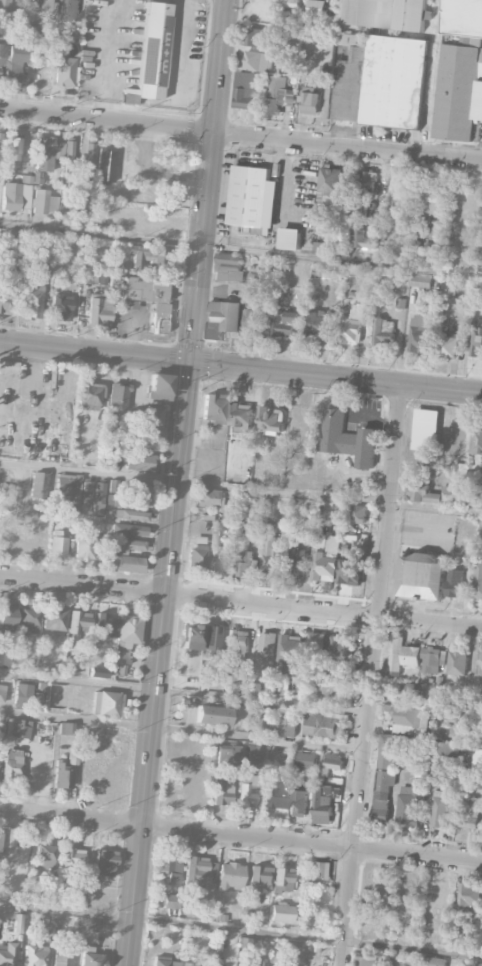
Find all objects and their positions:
building: (290, 3)
building: (316, 5)
building: (5, 6)
building: (47, 7)
building: (24, 8)
building: (70, 10)
building: (385, 13)
building: (462, 17)
building: (27, 28)
building: (257, 36)
road: (178, 47)
parking lot: (109, 50)
building: (153, 51)
parking lot: (183, 53)
building: (256, 60)
building: (12, 61)
building: (65, 72)
building: (382, 82)
building: (246, 89)
building: (276, 94)
building: (310, 100)
road: (105, 119)
road: (346, 144)
building: (14, 146)
building: (169, 147)
building: (69, 150)
building: (47, 153)
building: (86, 158)
road: (383, 181)
building: (365, 182)
building: (249, 195)
building: (327, 195)
building: (15, 196)
building: (431, 201)
building: (44, 202)
building: (82, 202)
building: (434, 229)
building: (290, 237)
building: (366, 239)
building: (319, 247)
road: (241, 250)
building: (146, 254)
building: (229, 267)
building: (333, 271)
building: (420, 279)
building: (145, 286)
building: (33, 296)
building: (400, 302)
building: (5, 303)
building: (60, 307)
building: (99, 309)
building: (353, 312)
building: (159, 317)
building: (222, 319)
building: (255, 320)
building: (285, 322)
building: (318, 323)
building: (352, 330)
building: (384, 331)
building: (421, 333)
road: (407, 338)
building: (477, 338)
building: (448, 344)
traffic signals: (188, 361)
road: (241, 366)
building: (158, 387)
building: (89, 395)
building: (118, 396)
building: (213, 408)
building: (153, 416)
building: (241, 416)
building: (271, 419)
building: (455, 434)
building: (347, 437)
building: (476, 440)
building: (138, 462)
road: (174, 482)
building: (458, 483)
building: (66, 484)
building: (38, 485)
road: (241, 489)
building: (86, 492)
building: (98, 496)
building: (210, 498)
road: (391, 501)
building: (135, 502)
building: (358, 513)
building: (131, 515)
building: (129, 530)
building: (481, 532)
building: (125, 545)
building: (57, 547)
building: (84, 547)
building: (270, 554)
building: (325, 556)
building: (296, 558)
building: (196, 559)
building: (220, 560)
building: (244, 561)
building: (127, 564)
building: (350, 570)
building: (421, 576)
building: (478, 580)
building: (454, 582)
road: (82, 585)
road: (322, 612)
building: (54, 618)
building: (7, 619)
building: (29, 619)
building: (78, 623)
building: (119, 628)
building: (191, 637)
building: (211, 637)
building: (238, 640)
building: (316, 644)
building: (291, 647)
building: (341, 647)
building: (265, 650)
building: (402, 655)
building: (433, 659)
building: (458, 662)
building: (71, 665)
building: (98, 672)
building: (334, 688)
building: (282, 690)
building: (410, 690)
building: (2, 693)
road: (183, 694)
building: (26, 695)
building: (107, 704)
building: (212, 715)
building: (459, 717)
building: (409, 719)
building: (265, 720)
building: (322, 725)
building: (288, 727)
building: (17, 731)
road: (181, 731)
building: (443, 748)
building: (386, 750)
building: (228, 755)
building: (254, 756)
building: (276, 756)
building: (478, 758)
building: (306, 759)
building: (403, 759)
building: (334, 763)
building: (11, 764)
building: (62, 776)
building: (222, 790)
building: (248, 791)
road: (359, 792)
building: (383, 794)
building: (274, 795)
building: (298, 803)
building: (324, 803)
building: (409, 803)
building: (439, 809)
building: (470, 811)
road: (70, 817)
road: (181, 830)
road: (266, 839)
building: (0, 843)
road: (348, 848)
building: (45, 855)
building: (73, 858)
road: (435, 858)
building: (104, 862)
building: (163, 864)
building: (319, 870)
building: (173, 873)
building: (199, 874)
building: (229, 876)
building: (260, 877)
building: (282, 879)
building: (469, 896)
building: (169, 901)
building: (282, 913)
building: (17, 923)
road: (241, 929)
building: (441, 937)
building: (217, 948)
building: (7, 954)
building: (34, 955)
building: (61, 958)
building: (90, 958)
building: (367, 959)
building: (163, 961)
building: (434, 961)
building: (186, 964)
building: (479, 964)
building: (246, 965)

